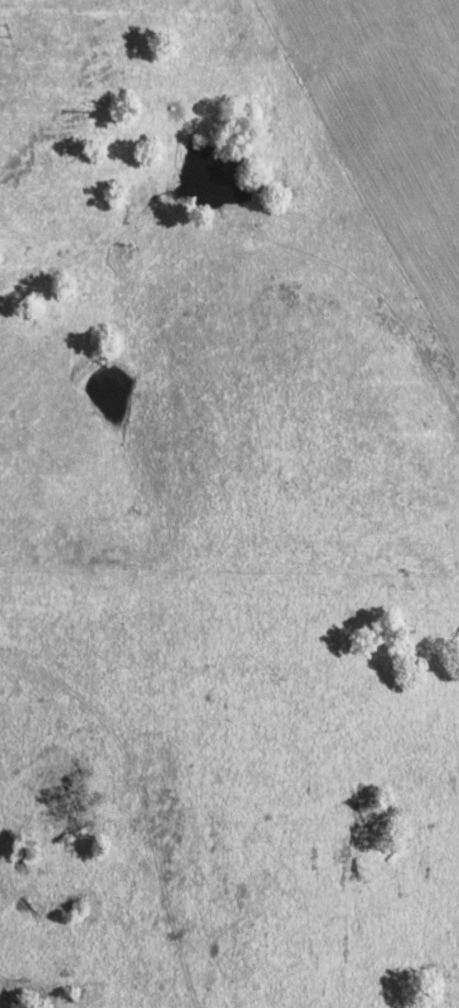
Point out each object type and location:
power tower: (0, 32)

